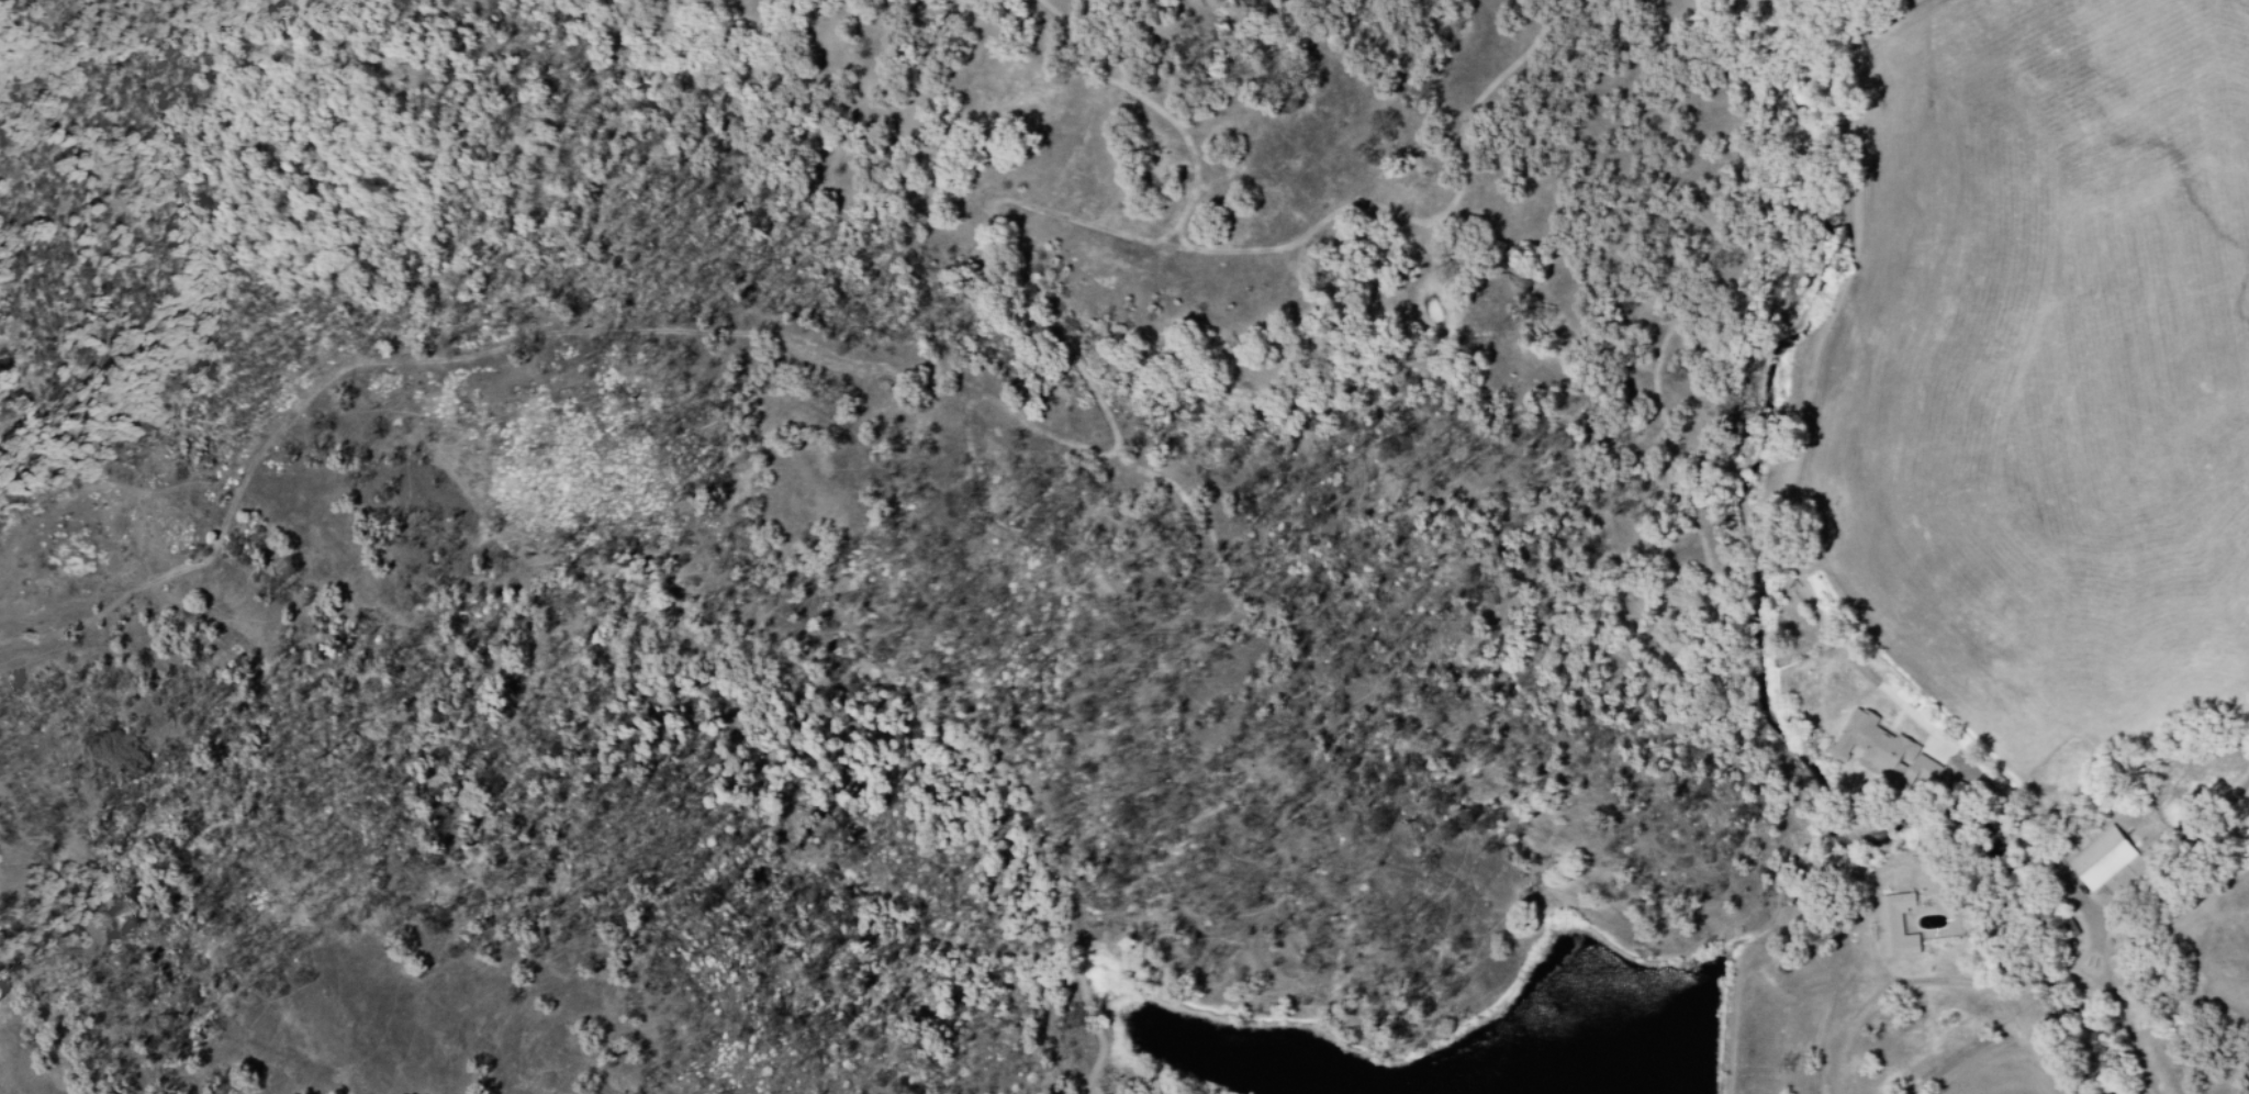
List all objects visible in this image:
building: (1881, 752)
building: (2095, 858)
building: (1892, 925)

